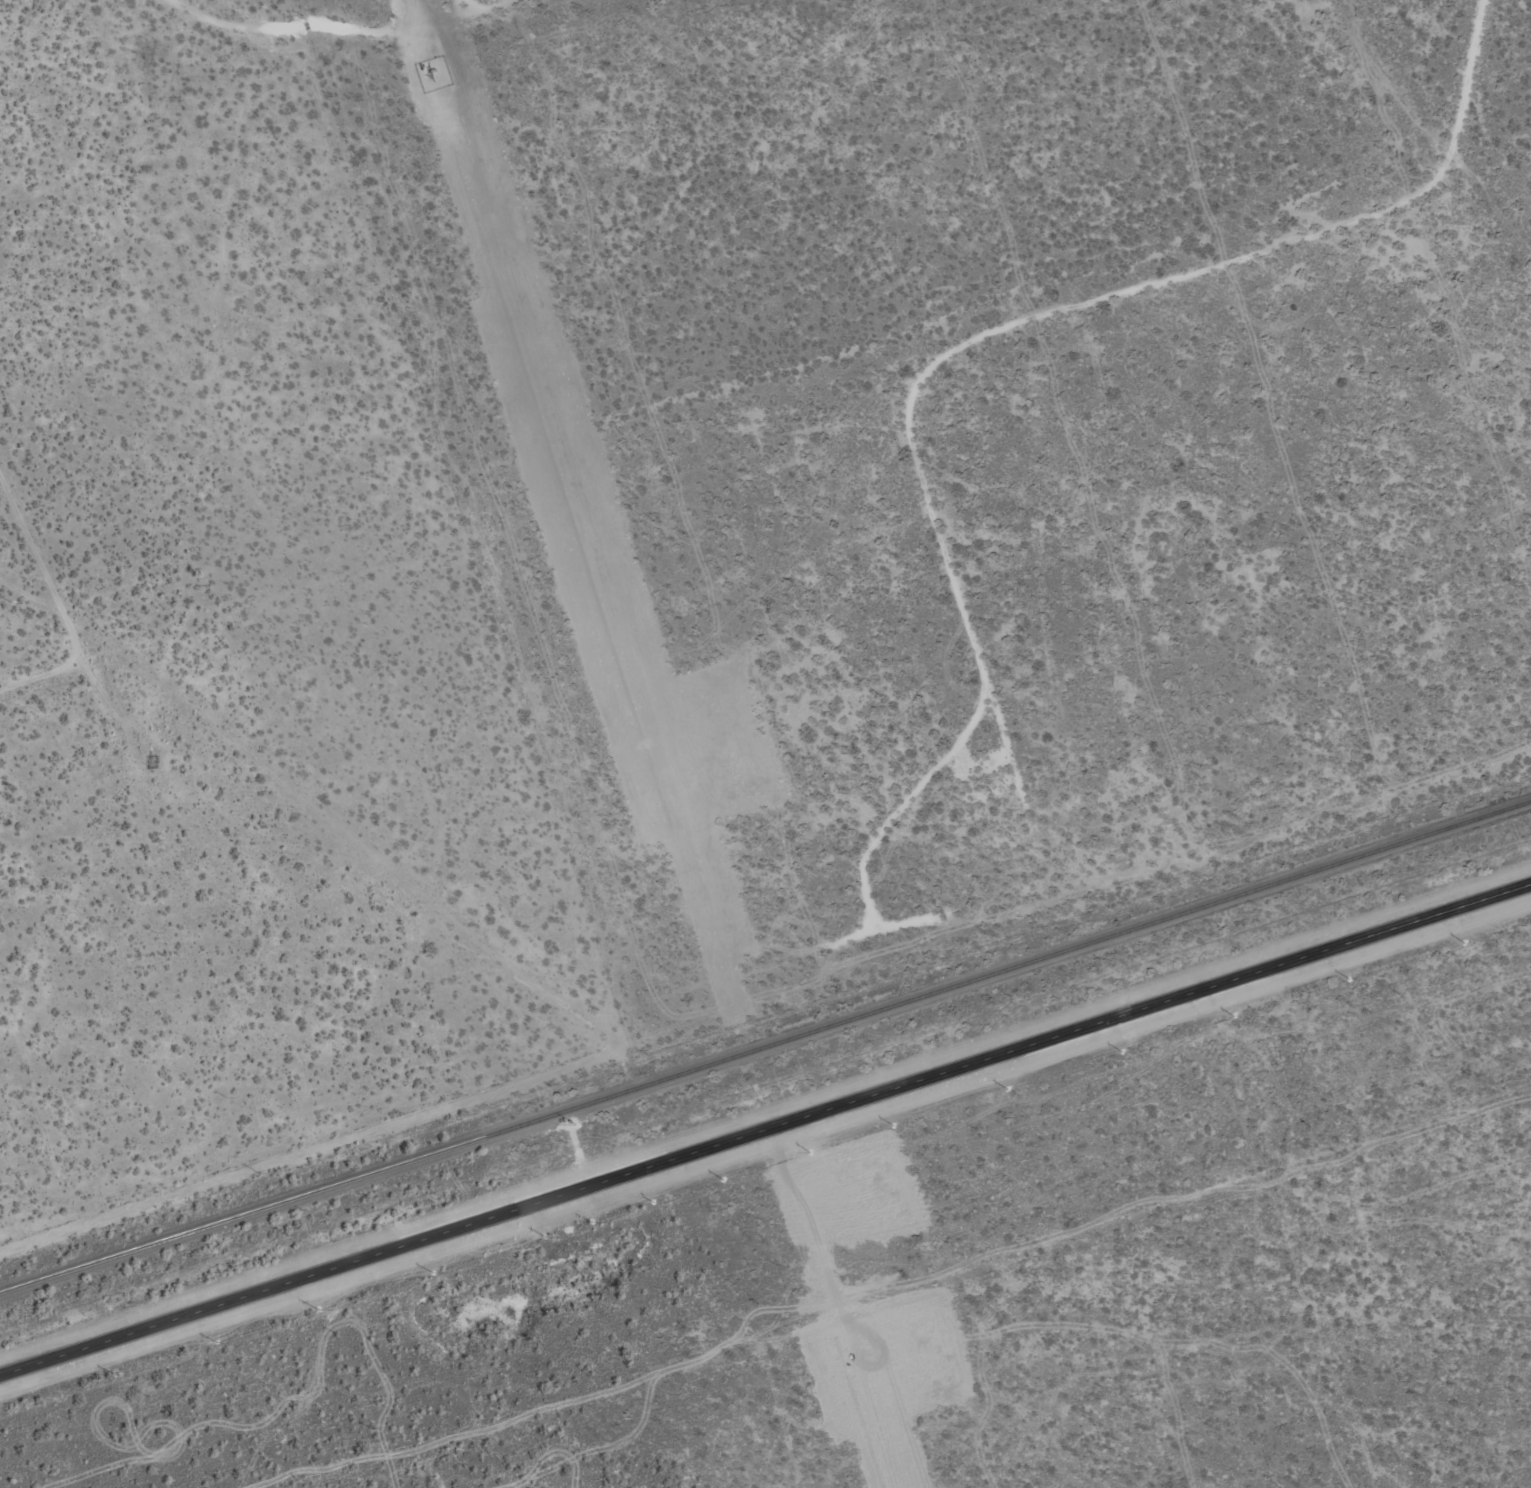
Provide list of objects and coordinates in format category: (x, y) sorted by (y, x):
road: (381, 79)
road: (15, 636)
railway: (765, 1046)
road: (765, 1130)

